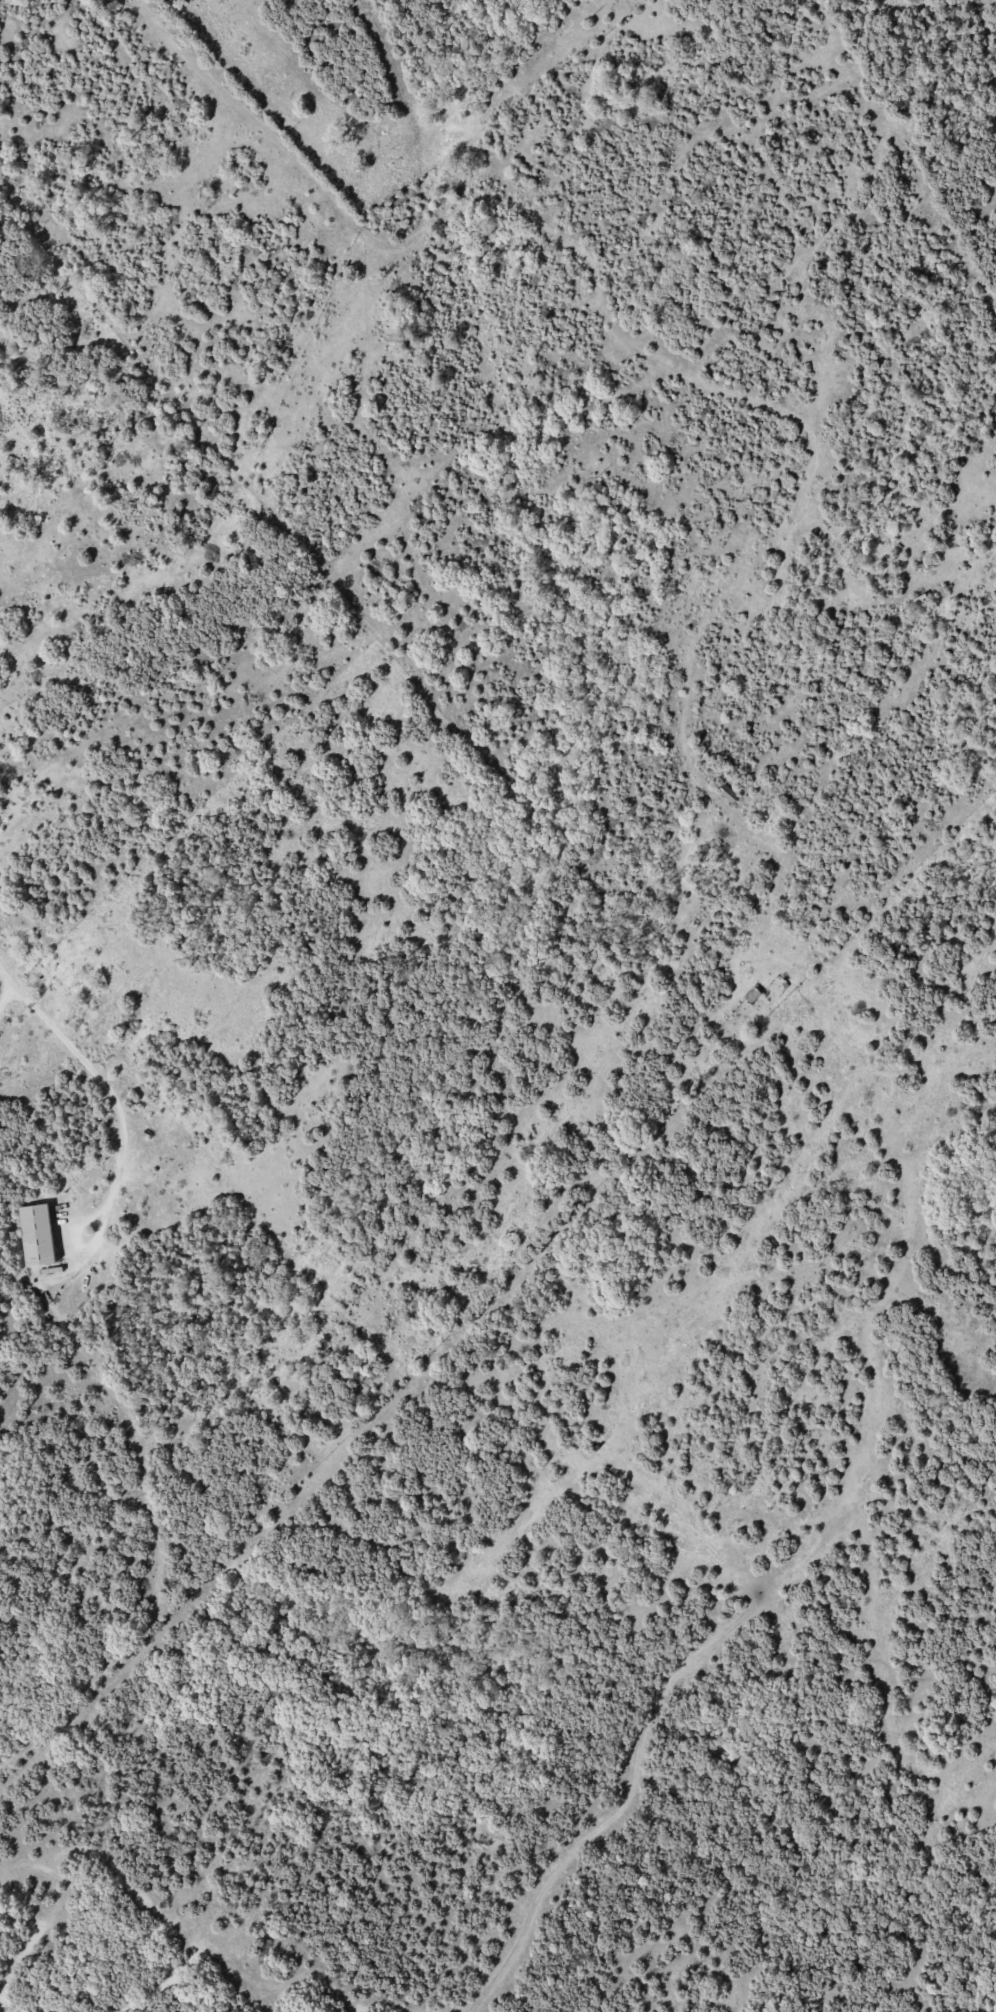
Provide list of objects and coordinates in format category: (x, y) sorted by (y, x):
building: (728, 793)
road: (5, 996)
road: (97, 1074)
building: (37, 1235)
road: (77, 1249)

